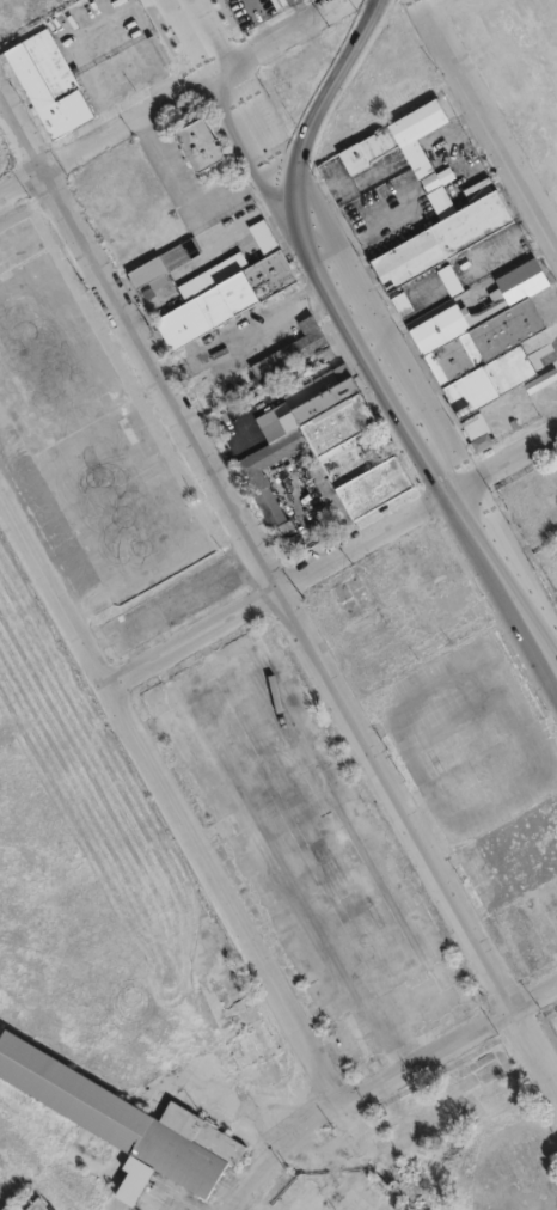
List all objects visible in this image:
building: (281, 1)
road: (439, 8)
road: (259, 19)
road: (280, 35)
road: (200, 36)
building: (527, 50)
building: (51, 84)
road: (246, 120)
road: (486, 123)
road: (110, 135)
building: (203, 146)
building: (406, 149)
road: (186, 204)
road: (367, 230)
road: (504, 237)
building: (443, 242)
building: (166, 262)
building: (452, 281)
building: (228, 301)
building: (404, 304)
road: (361, 328)
building: (486, 341)
building: (87, 424)
building: (326, 438)
building: (483, 445)
road: (503, 459)
road: (503, 583)
road: (282, 588)
road: (282, 592)
building: (171, 604)
road: (194, 825)
road: (555, 989)
building: (252, 1031)
road: (384, 1081)
building: (127, 1120)
building: (134, 1180)

